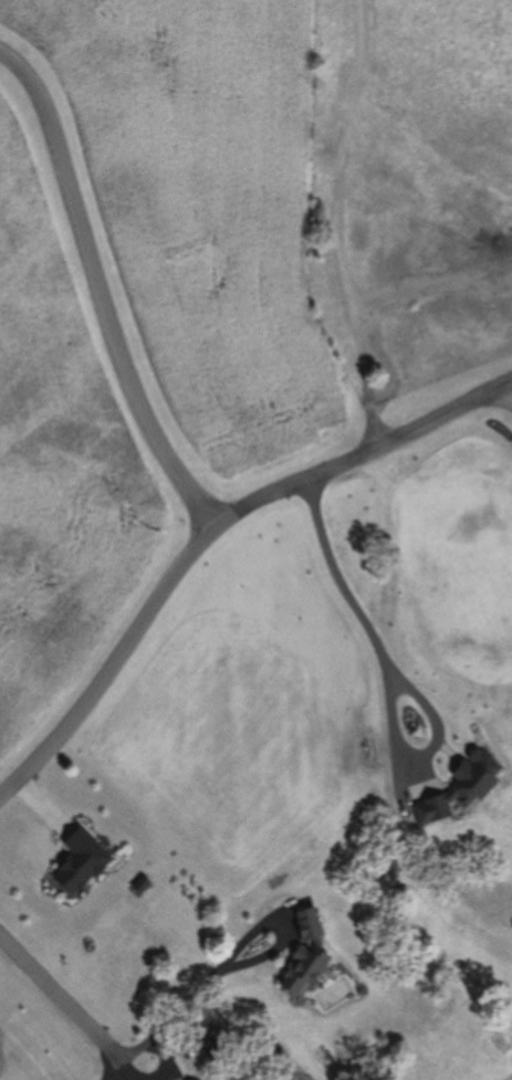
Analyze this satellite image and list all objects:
road: (336, 232)
road: (97, 292)
road: (203, 539)
road: (386, 617)
building: (76, 863)
building: (138, 885)
building: (303, 954)
road: (232, 966)
road: (65, 1006)

